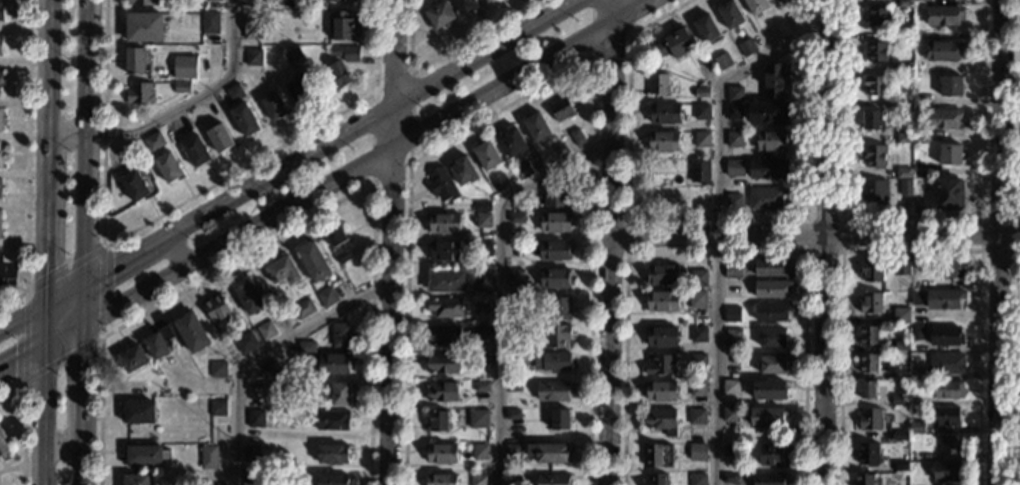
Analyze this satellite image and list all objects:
building: (218, 0)
building: (329, 0)
building: (346, 0)
building: (486, 0)
building: (776, 0)
building: (924, 0)
building: (140, 2)
building: (904, 3)
building: (464, 4)
building: (755, 5)
building: (2, 8)
building: (438, 14)
building: (729, 14)
building: (942, 15)
building: (876, 16)
building: (208, 21)
building: (251, 24)
building: (339, 24)
building: (144, 26)
building: (704, 28)
building: (903, 34)
building: (921, 34)
building: (322, 39)
building: (674, 42)
building: (1, 45)
building: (745, 46)
building: (941, 49)
road: (601, 50)
building: (875, 51)
building: (344, 52)
road: (440, 53)
building: (213, 54)
building: (292, 54)
building: (252, 57)
building: (136, 60)
building: (722, 60)
road: (45, 66)
building: (184, 66)
road: (87, 67)
building: (920, 67)
building: (904, 69)
building: (704, 70)
building: (336, 74)
building: (0, 77)
building: (773, 80)
road: (546, 82)
building: (657, 83)
building: (874, 85)
building: (950, 85)
building: (180, 86)
building: (299, 88)
building: (232, 91)
building: (139, 92)
building: (700, 92)
building: (734, 92)
road: (193, 97)
building: (920, 99)
building: (903, 102)
building: (272, 106)
building: (560, 108)
building: (733, 110)
road: (1018, 110)
building: (701, 111)
building: (767, 111)
building: (663, 113)
building: (940, 118)
building: (244, 119)
building: (871, 119)
building: (0, 120)
building: (535, 126)
road: (66, 133)
building: (574, 136)
building: (218, 137)
building: (903, 137)
building: (920, 138)
building: (700, 139)
building: (734, 139)
building: (770, 139)
building: (153, 140)
building: (662, 140)
building: (511, 142)
building: (194, 151)
building: (128, 152)
building: (486, 154)
building: (949, 154)
building: (874, 156)
building: (0, 159)
road: (26, 160)
road: (409, 160)
building: (167, 167)
road: (290, 168)
building: (734, 168)
building: (766, 168)
building: (462, 170)
building: (523, 170)
building: (698, 171)
building: (902, 172)
building: (499, 182)
building: (134, 185)
road: (321, 185)
building: (441, 185)
building: (510, 185)
building: (904, 187)
building: (1, 189)
building: (873, 191)
building: (947, 193)
building: (555, 196)
building: (666, 196)
building: (700, 196)
building: (766, 198)
building: (732, 201)
building: (516, 205)
building: (480, 206)
road: (171, 207)
road: (981, 216)
building: (516, 217)
road: (909, 217)
road: (697, 218)
road: (304, 220)
building: (482, 220)
building: (553, 221)
building: (443, 222)
road: (717, 222)
building: (0, 223)
road: (814, 234)
road: (625, 237)
road: (391, 242)
road: (610, 242)
road: (827, 242)
road: (1000, 242)
building: (336, 243)
building: (483, 247)
building: (514, 248)
building: (444, 249)
building: (553, 249)
road: (912, 250)
road: (174, 252)
road: (716, 252)
road: (841, 252)
building: (311, 260)
building: (950, 265)
building: (770, 267)
building: (900, 268)
building: (282, 269)
building: (869, 269)
building: (732, 271)
building: (661, 274)
building: (514, 276)
building: (553, 277)
building: (697, 277)
building: (446, 280)
building: (481, 280)
road: (499, 282)
road: (86, 285)
traffic signals: (86, 286)
building: (770, 287)
building: (248, 295)
building: (326, 296)
building: (937, 297)
building: (696, 299)
building: (662, 300)
building: (514, 301)
building: (869, 302)
building: (444, 306)
building: (480, 306)
building: (301, 308)
building: (559, 308)
road: (46, 309)
building: (216, 309)
traffic signals: (46, 310)
building: (770, 311)
building: (731, 314)
building: (900, 315)
traffic signals: (86, 320)
building: (514, 328)
building: (265, 330)
building: (478, 330)
building: (916, 331)
building: (191, 332)
building: (340, 334)
building: (442, 334)
building: (555, 334)
building: (698, 334)
building: (660, 335)
building: (866, 335)
building: (944, 335)
road: (100, 336)
building: (771, 336)
building: (732, 339)
building: (158, 341)
building: (244, 342)
traffic signals: (45, 343)
building: (900, 345)
building: (305, 346)
road: (262, 351)
building: (513, 357)
building: (132, 358)
building: (480, 358)
building: (697, 358)
building: (550, 360)
building: (331, 362)
building: (866, 362)
building: (945, 362)
building: (441, 363)
building: (659, 363)
building: (771, 363)
road: (1014, 365)
building: (268, 367)
building: (215, 368)
building: (899, 372)
building: (916, 372)
building: (512, 385)
building: (480, 386)
building: (729, 386)
building: (697, 388)
building: (158, 389)
building: (768, 389)
building: (865, 389)
building: (948, 389)
building: (251, 390)
building: (551, 390)
building: (660, 390)
building: (440, 391)
building: (339, 393)
building: (898, 399)
building: (915, 400)
building: (217, 406)
building: (138, 412)
building: (512, 413)
building: (728, 413)
building: (695, 416)
building: (766, 416)
building: (946, 416)
building: (255, 418)
building: (558, 418)
building: (868, 418)
building: (330, 419)
building: (477, 419)
building: (659, 419)
road: (22, 420)
building: (436, 420)
building: (915, 426)
building: (898, 435)
road: (63, 443)
building: (948, 444)
building: (3, 447)
building: (730, 449)
building: (250, 451)
building: (478, 451)
building: (512, 451)
building: (548, 451)
building: (695, 451)
building: (441, 452)
building: (331, 453)
building: (866, 453)
building: (656, 454)
building: (770, 454)
building: (145, 455)
building: (207, 457)
road: (82, 460)
road: (2, 464)
building: (899, 466)
road: (10, 467)
building: (947, 471)
building: (729, 477)
building: (331, 478)
building: (511, 478)
building: (767, 478)
building: (135, 479)
building: (250, 479)
building: (439, 479)
building: (478, 479)
building: (552, 479)
building: (654, 479)
building: (696, 479)
building: (863, 479)
building: (915, 484)

